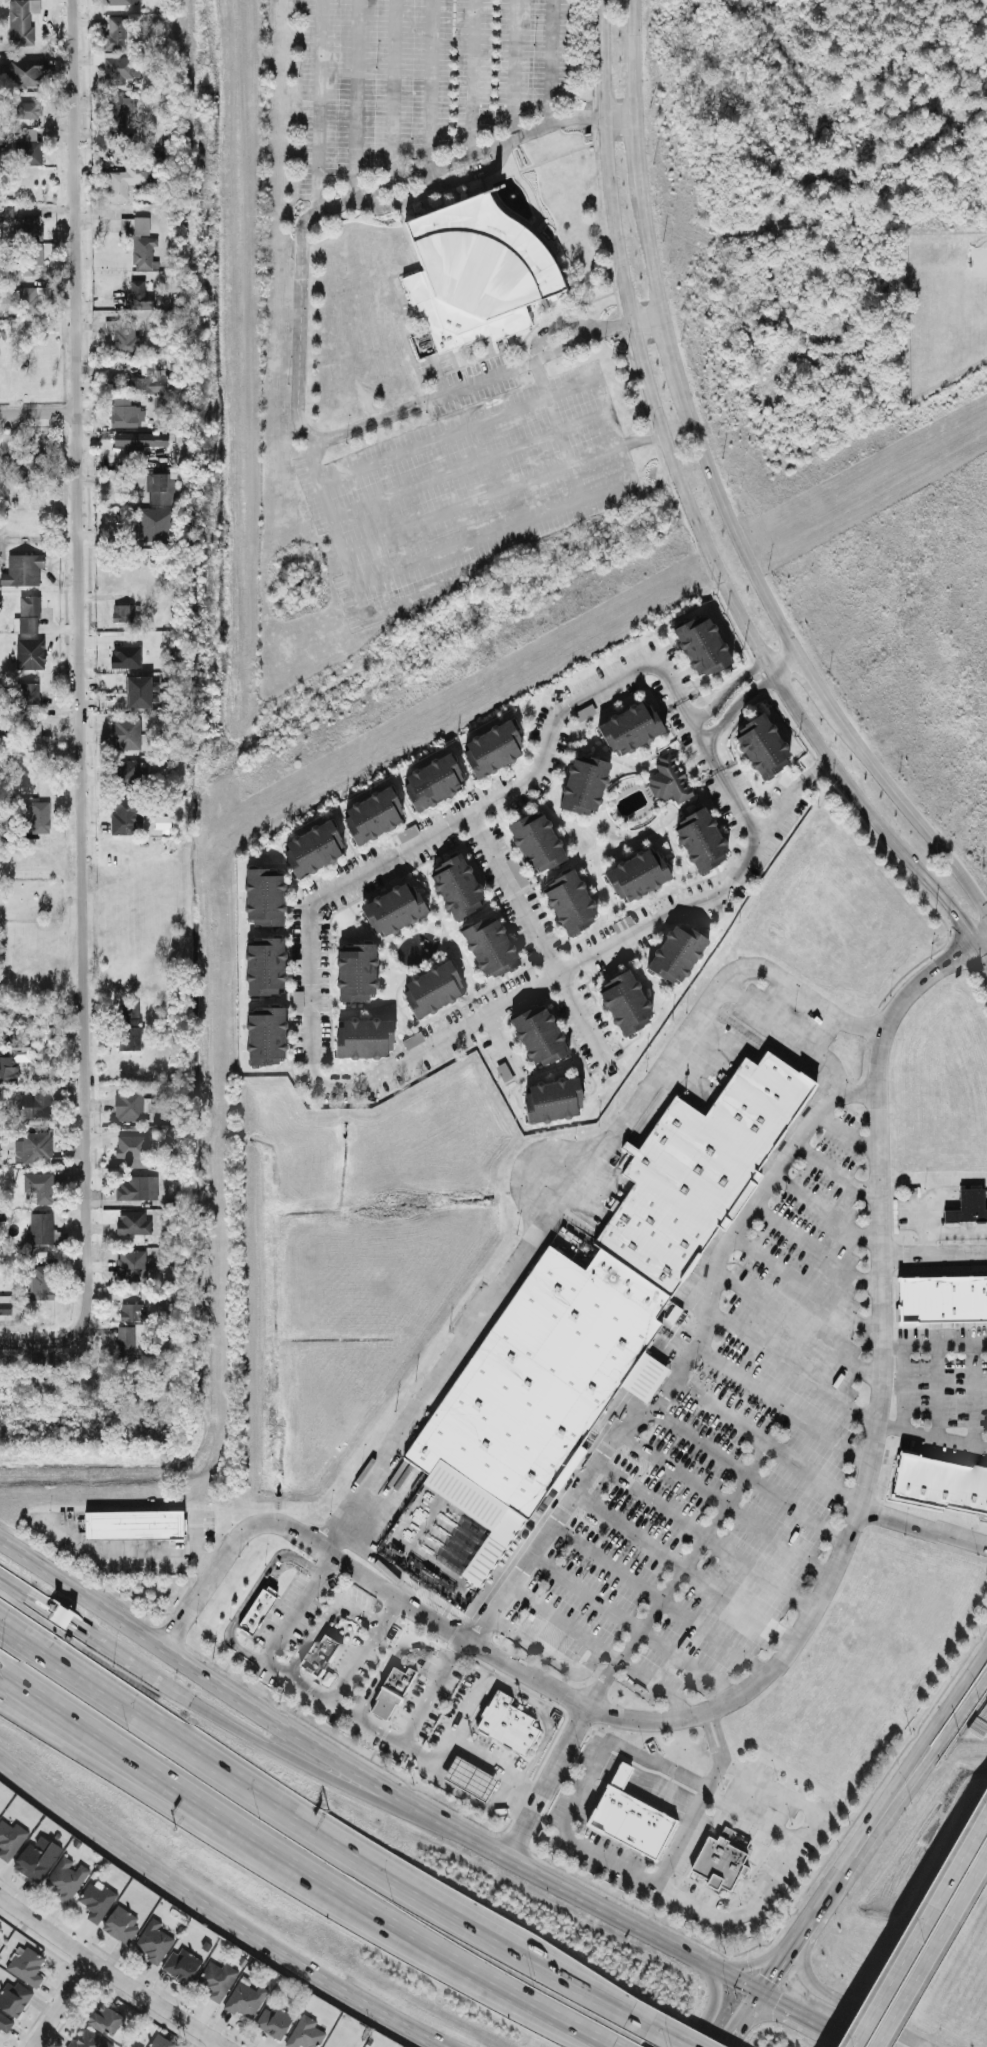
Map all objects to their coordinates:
building: (120, 1)
building: (21, 20)
building: (113, 31)
road: (632, 56)
road: (547, 61)
building: (115, 66)
road: (513, 67)
building: (22, 70)
road: (471, 76)
road: (430, 83)
road: (391, 91)
road: (352, 98)
road: (317, 104)
building: (28, 108)
building: (116, 113)
road: (618, 114)
building: (3, 138)
road: (635, 147)
building: (28, 148)
building: (126, 178)
road: (434, 185)
building: (6, 211)
building: (134, 223)
building: (32, 225)
road: (646, 247)
building: (143, 251)
building: (32, 257)
building: (473, 267)
building: (139, 293)
building: (28, 298)
road: (644, 316)
road: (555, 324)
building: (122, 334)
road: (296, 339)
road: (670, 348)
road: (436, 373)
building: (150, 375)
road: (604, 393)
road: (39, 410)
building: (125, 411)
road: (555, 427)
road: (459, 431)
building: (140, 439)
building: (169, 457)
road: (469, 463)
building: (159, 486)
road: (499, 489)
building: (153, 522)
road: (692, 523)
road: (729, 524)
road: (493, 531)
building: (22, 568)
road: (349, 574)
building: (122, 611)
building: (28, 612)
building: (701, 644)
building: (29, 652)
building: (125, 655)
road: (784, 664)
road: (80, 667)
road: (815, 681)
road: (724, 687)
building: (27, 690)
building: (138, 690)
road: (732, 704)
building: (3, 722)
building: (630, 726)
building: (126, 732)
road: (696, 735)
building: (33, 736)
building: (761, 744)
building: (492, 747)
building: (127, 769)
road: (814, 769)
building: (667, 778)
building: (432, 780)
building: (584, 783)
road: (735, 805)
road: (908, 811)
building: (373, 813)
building: (125, 816)
building: (40, 818)
road: (429, 834)
building: (700, 838)
building: (536, 840)
building: (313, 847)
building: (515, 870)
building: (637, 873)
building: (456, 885)
building: (264, 895)
building: (570, 901)
building: (394, 907)
traffic signals: (958, 912)
road: (979, 934)
road: (536, 940)
building: (489, 945)
building: (676, 951)
road: (591, 954)
building: (265, 965)
building: (356, 971)
building: (432, 987)
building: (625, 1001)
building: (129, 1024)
road: (788, 1032)
building: (538, 1033)
building: (266, 1034)
building: (364, 1036)
building: (412, 1038)
road: (502, 1044)
building: (13, 1061)
building: (553, 1098)
building: (130, 1103)
building: (36, 1104)
road: (843, 1130)
building: (33, 1146)
building: (132, 1148)
building: (693, 1166)
road: (832, 1171)
building: (39, 1185)
building: (137, 1186)
road: (572, 1189)
road: (953, 1196)
building: (967, 1205)
road: (822, 1209)
road: (922, 1217)
building: (132, 1221)
building: (44, 1228)
road: (955, 1231)
road: (923, 1244)
road: (813, 1247)
road: (931, 1255)
building: (131, 1263)
building: (41, 1280)
road: (802, 1286)
building: (942, 1297)
building: (5, 1303)
building: (669, 1309)
building: (132, 1310)
road: (795, 1326)
building: (125, 1340)
road: (38, 1341)
road: (932, 1344)
road: (680, 1361)
road: (788, 1366)
building: (640, 1374)
road: (899, 1385)
road: (935, 1389)
building: (529, 1390)
road: (969, 1393)
road: (778, 1403)
road: (929, 1433)
road: (745, 1476)
road: (819, 1482)
building: (940, 1483)
road: (723, 1504)
building: (127, 1522)
road: (192, 1529)
road: (702, 1534)
road: (125, 1551)
road: (681, 1566)
road: (675, 1576)
road: (658, 1597)
road: (243, 1601)
road: (296, 1605)
building: (252, 1608)
building: (61, 1614)
toll booth: (63, 1614)
road: (324, 1615)
road: (631, 1625)
road: (83, 1627)
road: (599, 1645)
road: (786, 1647)
road: (361, 1649)
building: (318, 1654)
road: (389, 1656)
road: (547, 1657)
building: (391, 1693)
road: (248, 1703)
road: (545, 1716)
road: (938, 1720)
building: (510, 1726)
road: (942, 1738)
road: (395, 1743)
road: (450, 1745)
road: (558, 1757)
road: (314, 1769)
road: (568, 1777)
building: (473, 1780)
road: (645, 1788)
road: (139, 1791)
road: (526, 1795)
road: (464, 1797)
road: (700, 1801)
building: (633, 1819)
road: (751, 1819)
road: (519, 1832)
road: (319, 1835)
building: (11, 1841)
building: (38, 1860)
building: (723, 1862)
road: (299, 1868)
building: (67, 1881)
road: (176, 1891)
road: (662, 1892)
road: (823, 1894)
building: (98, 1902)
road: (632, 1925)
building: (122, 1926)
building: (1, 1929)
road: (921, 1931)
building: (155, 1943)
road: (934, 1955)
road: (760, 1962)
building: (183, 1967)
building: (28, 1968)
road: (108, 1976)
building: (218, 1981)
road: (817, 1991)
traffic signals: (759, 1994)
building: (246, 1999)
building: (15, 2000)
road: (713, 2001)
road: (57, 2004)
road: (750, 2007)
road: (808, 2020)
building: (108, 2021)
building: (276, 2022)
building: (5, 2025)
road: (397, 2027)
road: (732, 2033)
building: (307, 2034)
road: (670, 2037)
building: (91, 2041)
building: (162, 2042)

